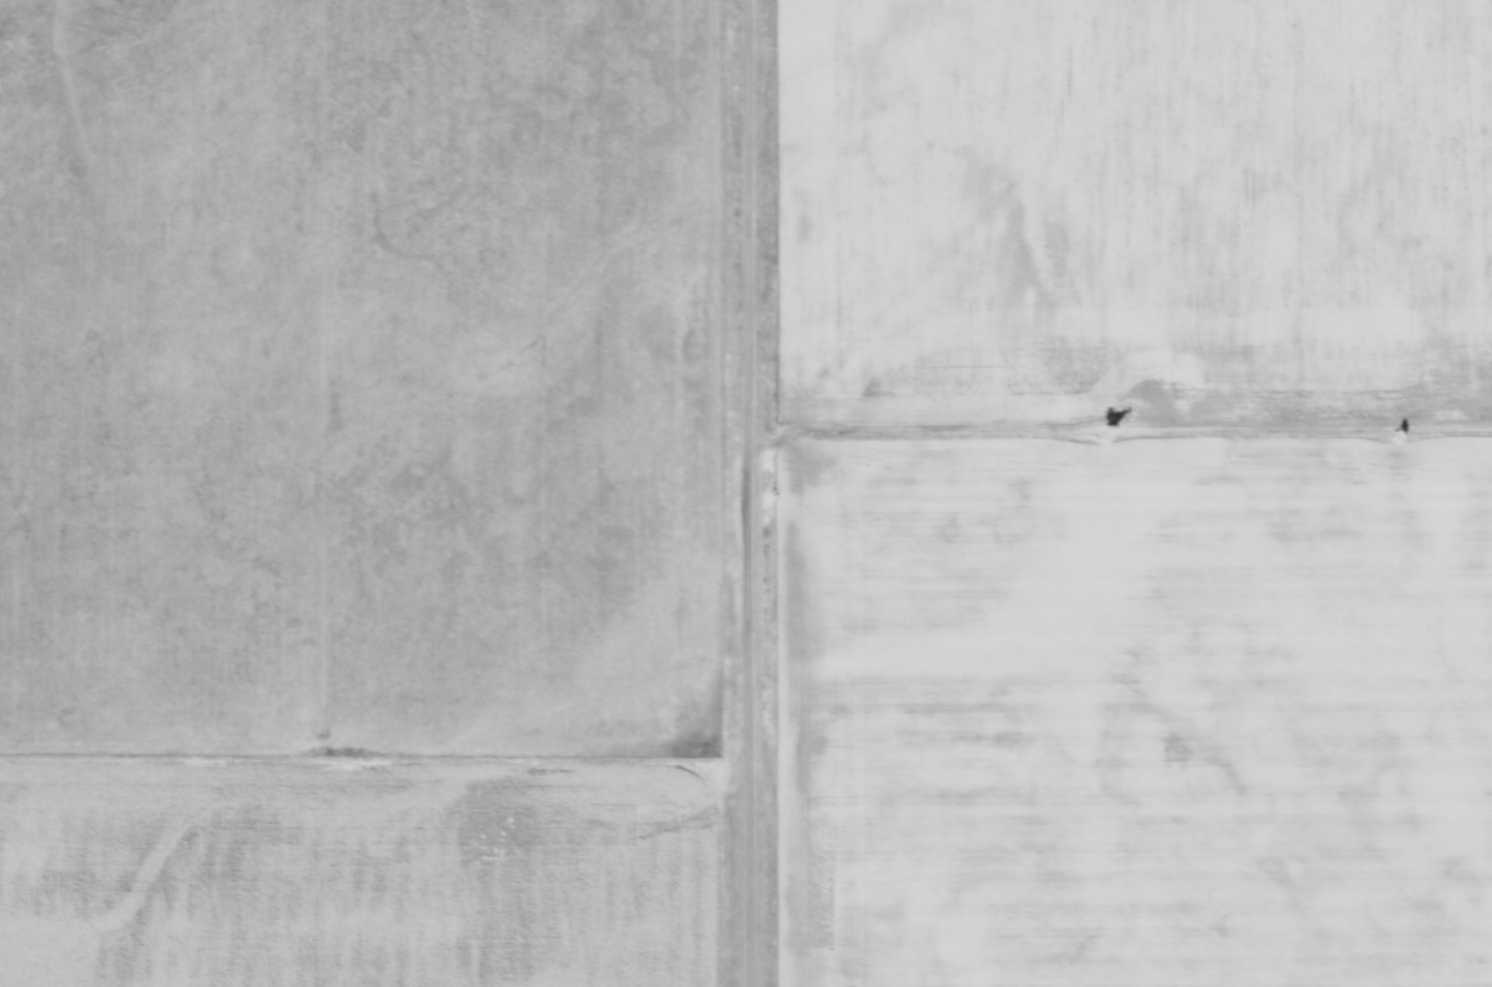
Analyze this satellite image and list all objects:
road: (751, 493)

